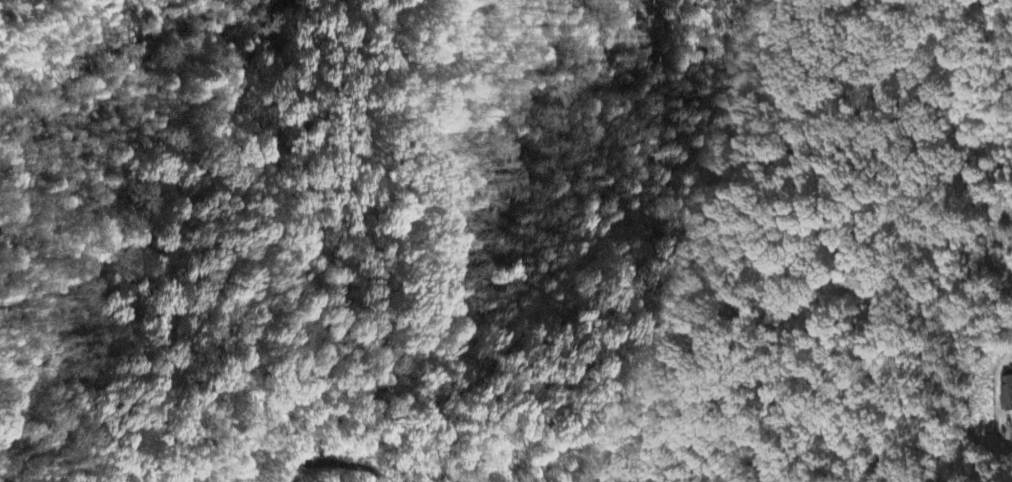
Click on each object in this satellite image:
building: (1006, 395)

